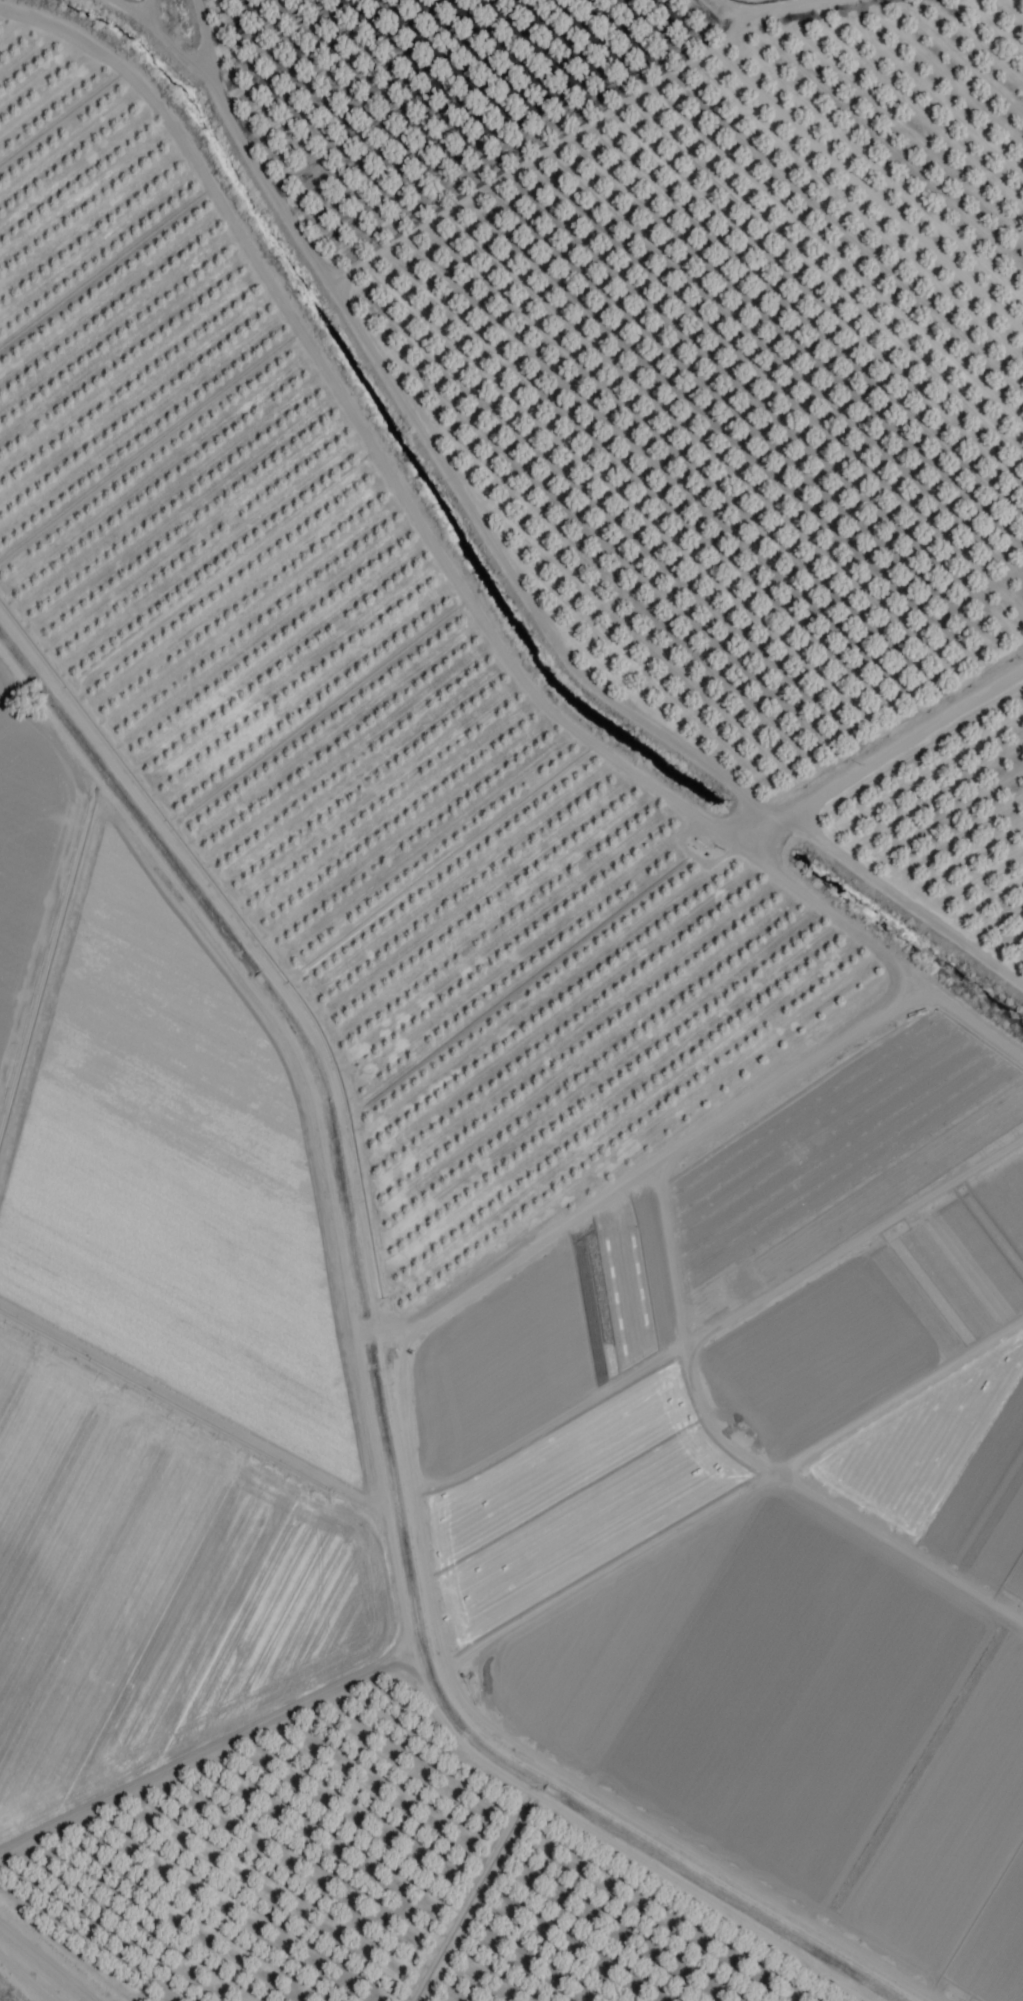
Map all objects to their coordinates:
road: (761, 8)
crop: (28, 853)
crop: (173, 1168)
road: (369, 1396)
crop: (947, 1468)
crop: (152, 1584)
crop: (802, 1728)
road: (46, 1963)

